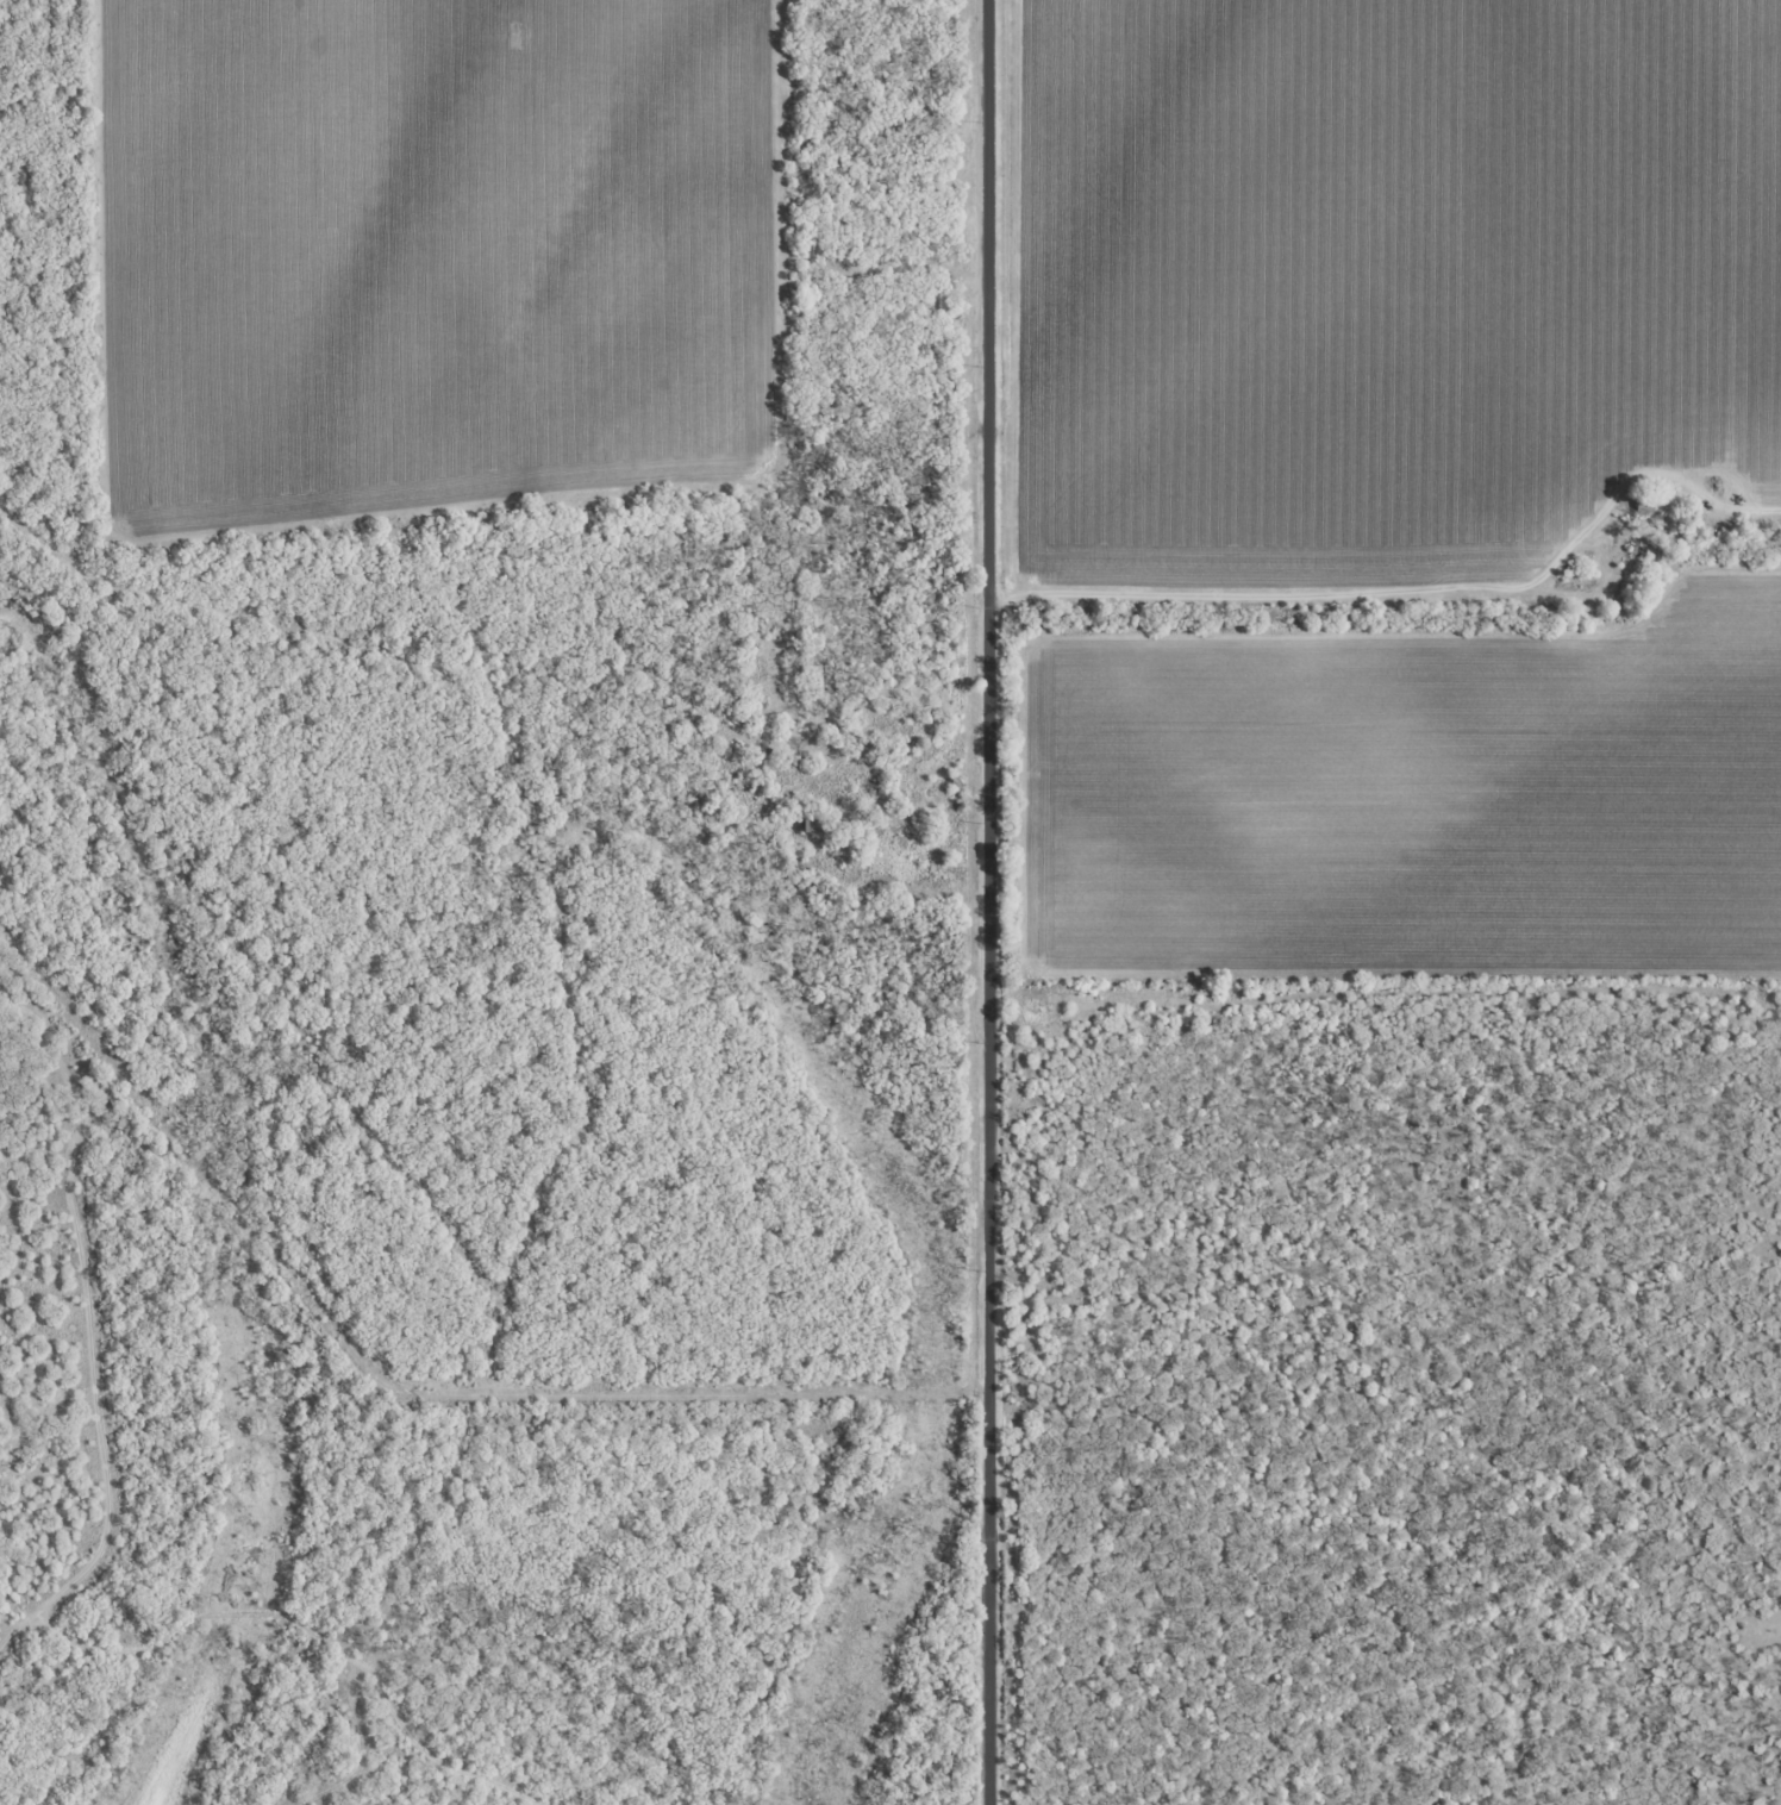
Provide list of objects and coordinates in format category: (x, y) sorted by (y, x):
road: (1326, 593)
road: (987, 901)

